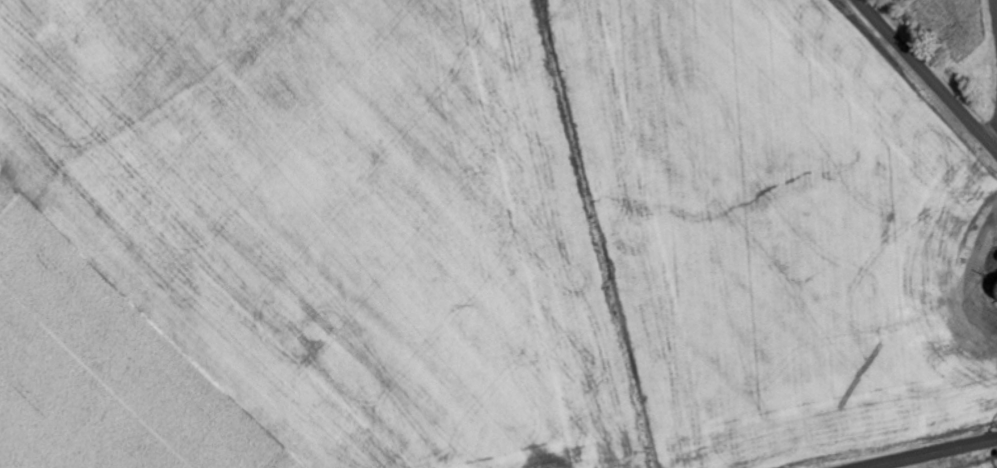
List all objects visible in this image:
road: (928, 74)
road: (995, 138)
building: (996, 291)
road: (929, 453)

